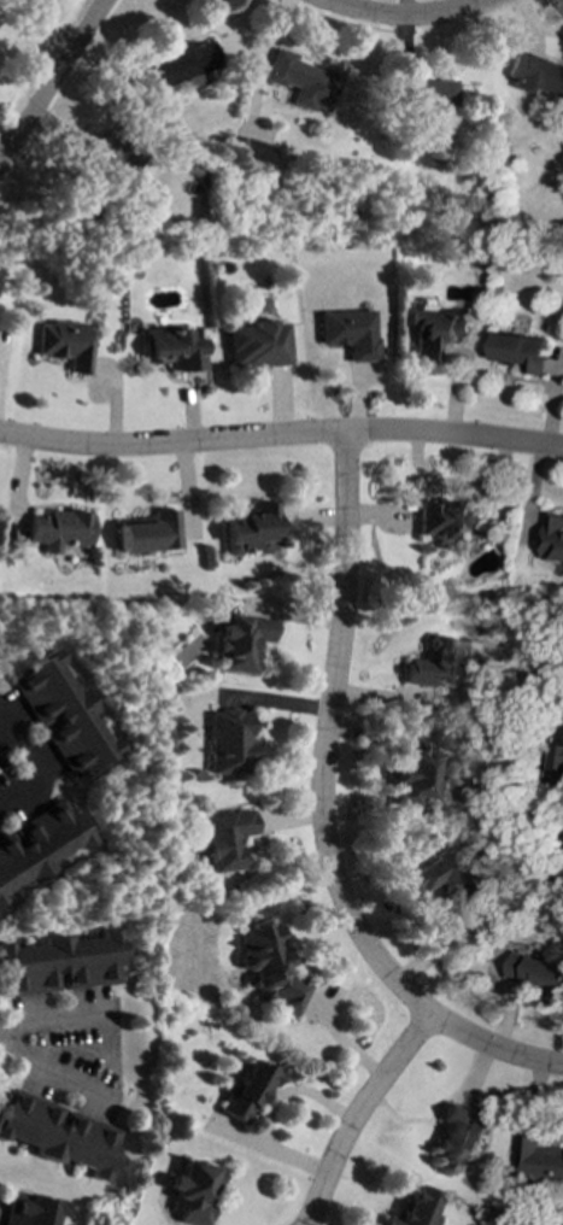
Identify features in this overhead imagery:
road: (409, 17)
building: (182, 63)
building: (534, 74)
road: (53, 80)
building: (301, 80)
building: (422, 96)
building: (112, 152)
building: (254, 152)
building: (346, 330)
building: (434, 330)
building: (65, 342)
building: (254, 342)
building: (171, 347)
building: (520, 351)
road: (281, 435)
building: (447, 521)
building: (250, 528)
building: (57, 529)
building: (148, 532)
building: (553, 538)
building: (236, 640)
building: (434, 663)
building: (59, 713)
building: (225, 740)
building: (556, 763)
road: (29, 773)
building: (409, 778)
road: (321, 810)
building: (224, 838)
building: (37, 843)
building: (445, 877)
building: (0, 899)
building: (57, 963)
building: (269, 967)
building: (535, 972)
road: (6, 1036)
road: (100, 1055)
building: (244, 1091)
road: (268, 1107)
road: (358, 1114)
building: (55, 1132)
building: (457, 1136)
building: (538, 1160)
building: (190, 1191)
building: (29, 1209)
building: (412, 1211)

